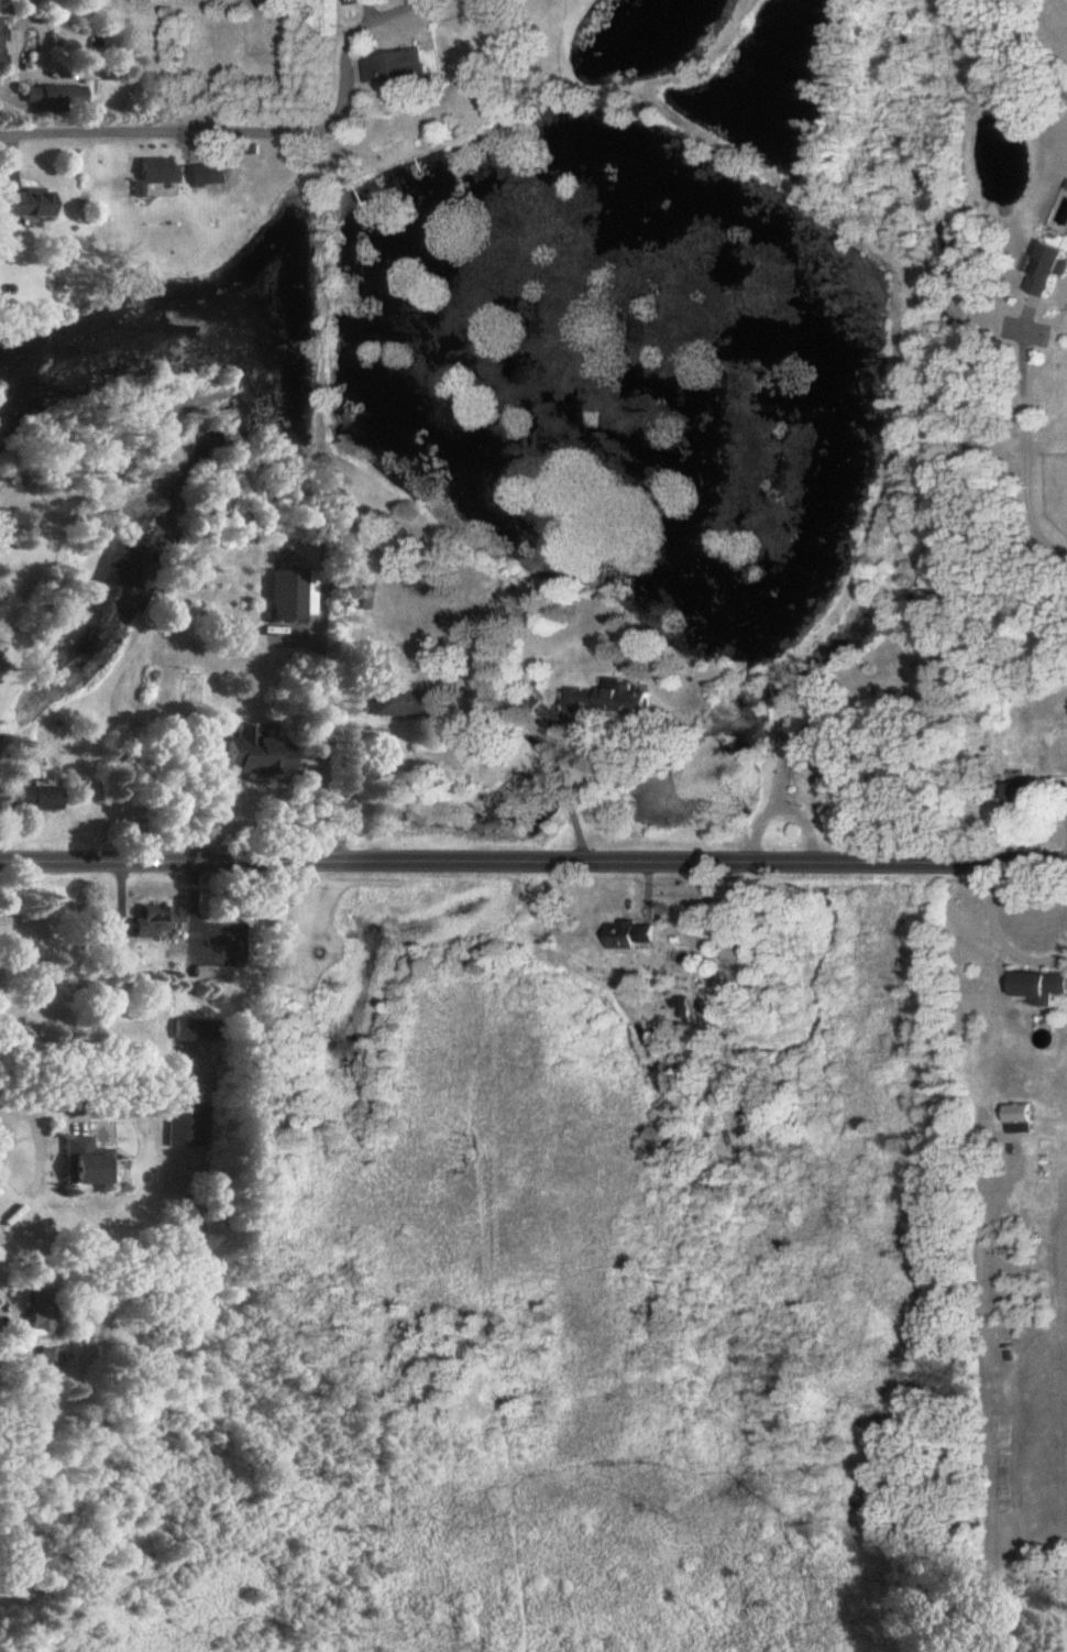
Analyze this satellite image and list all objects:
building: (3, 43)
building: (397, 69)
road: (9, 81)
building: (56, 98)
road: (260, 133)
building: (161, 172)
building: (30, 205)
building: (1048, 272)
road: (1022, 456)
building: (359, 594)
building: (290, 597)
building: (613, 700)
building: (530, 703)
building: (406, 704)
building: (804, 744)
building: (258, 756)
road: (342, 765)
road: (562, 786)
building: (1021, 798)
building: (38, 799)
road: (319, 803)
road: (762, 814)
road: (802, 822)
road: (533, 861)
building: (159, 923)
road: (999, 934)
building: (631, 937)
building: (120, 948)
building: (1041, 987)
building: (682, 1006)
building: (200, 1031)
building: (1021, 1120)
building: (188, 1126)
road: (37, 1159)
building: (89, 1164)
building: (45, 1310)

